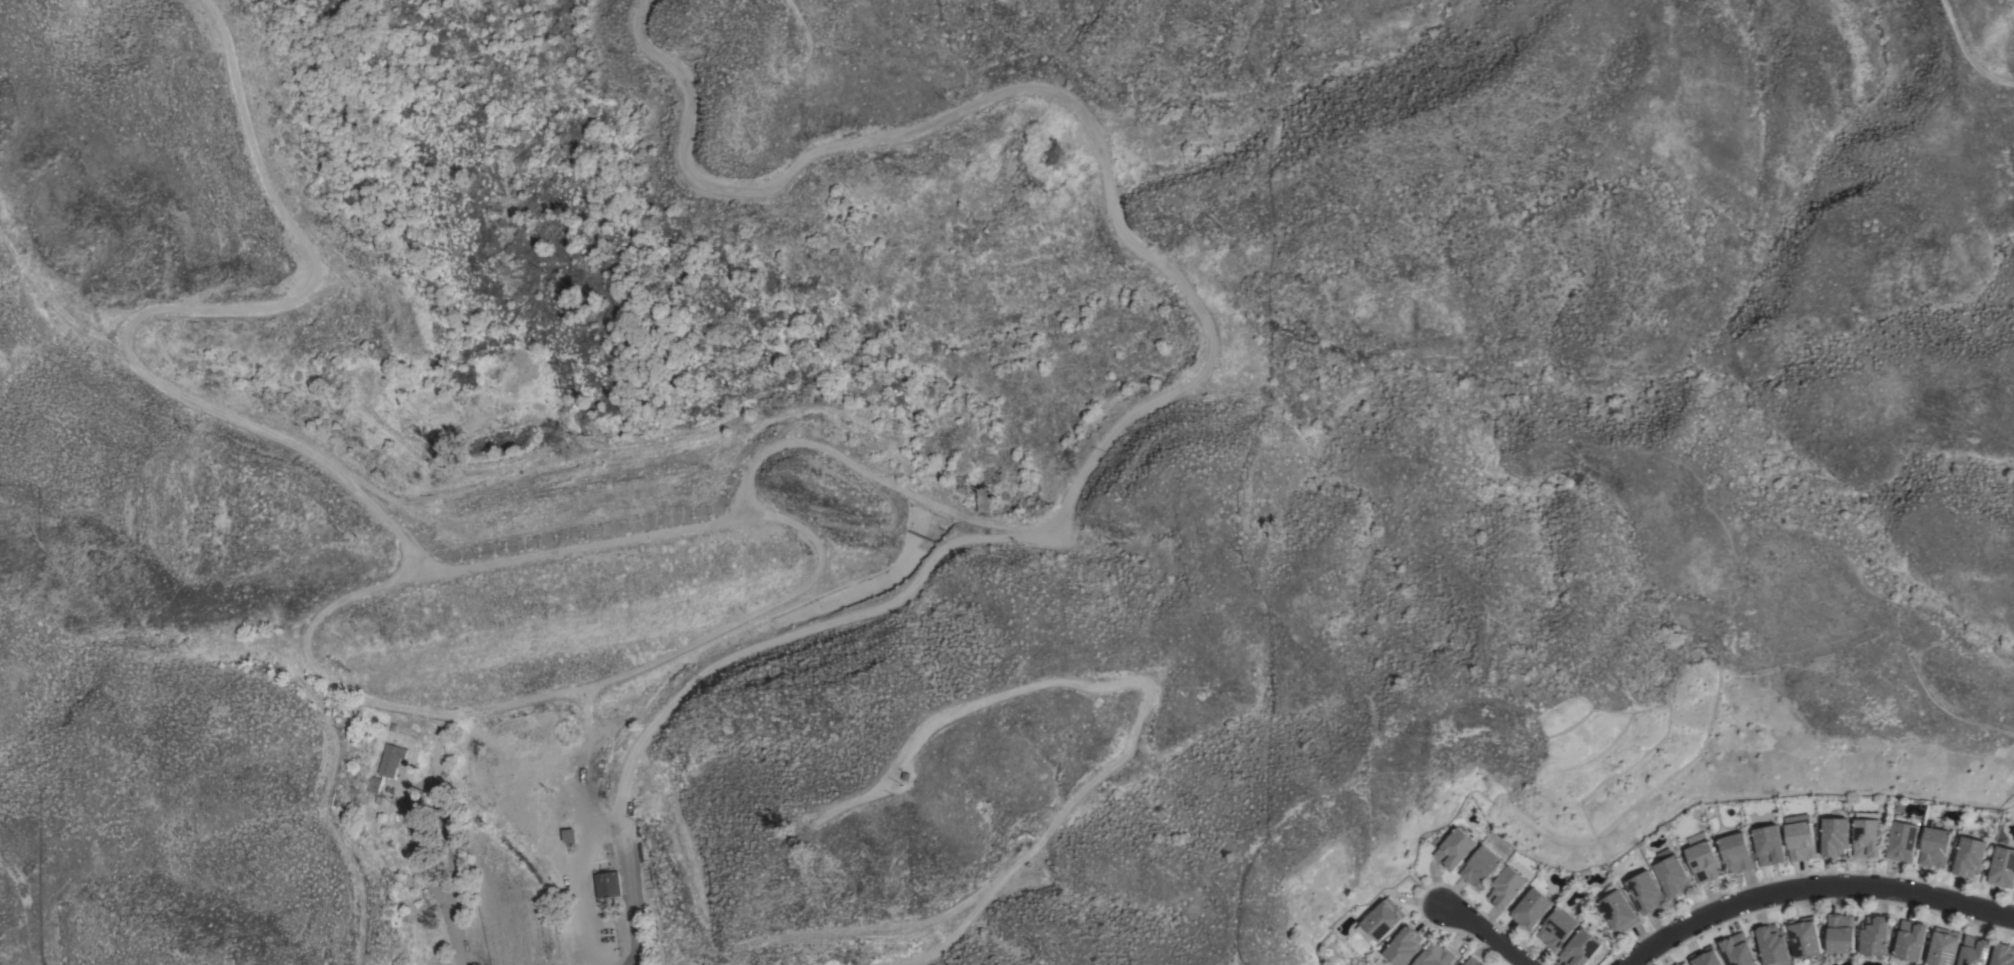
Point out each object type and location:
road: (976, 107)
building: (980, 502)
dam: (584, 505)
road: (467, 568)
road: (754, 616)
power tower: (1535, 704)
building: (389, 759)
building: (371, 784)
road: (418, 834)
building: (568, 834)
building: (1866, 834)
building: (1834, 836)
building: (1799, 837)
building: (1902, 839)
road: (449, 842)
building: (1768, 844)
building: (1934, 846)
building: (1452, 848)
building: (1735, 852)
building: (1969, 856)
building: (1703, 861)
building: (1479, 866)
building: (2002, 867)
building: (1671, 873)
building: (607, 884)
building: (1505, 886)
road: (1815, 888)
building: (1644, 891)
building: (1530, 908)
building: (1616, 909)
building: (1379, 921)
building: (1556, 928)
road: (1485, 932)
building: (1840, 932)
building: (1874, 934)
building: (1804, 936)
building: (1909, 939)
building: (1772, 945)
building: (1403, 946)
building: (1943, 946)
building: (1579, 948)
building: (1737, 950)
building: (1974, 950)
building: (2002, 954)
building: (1434, 955)
building: (1705, 957)
building: (1472, 961)
building: (1675, 963)

